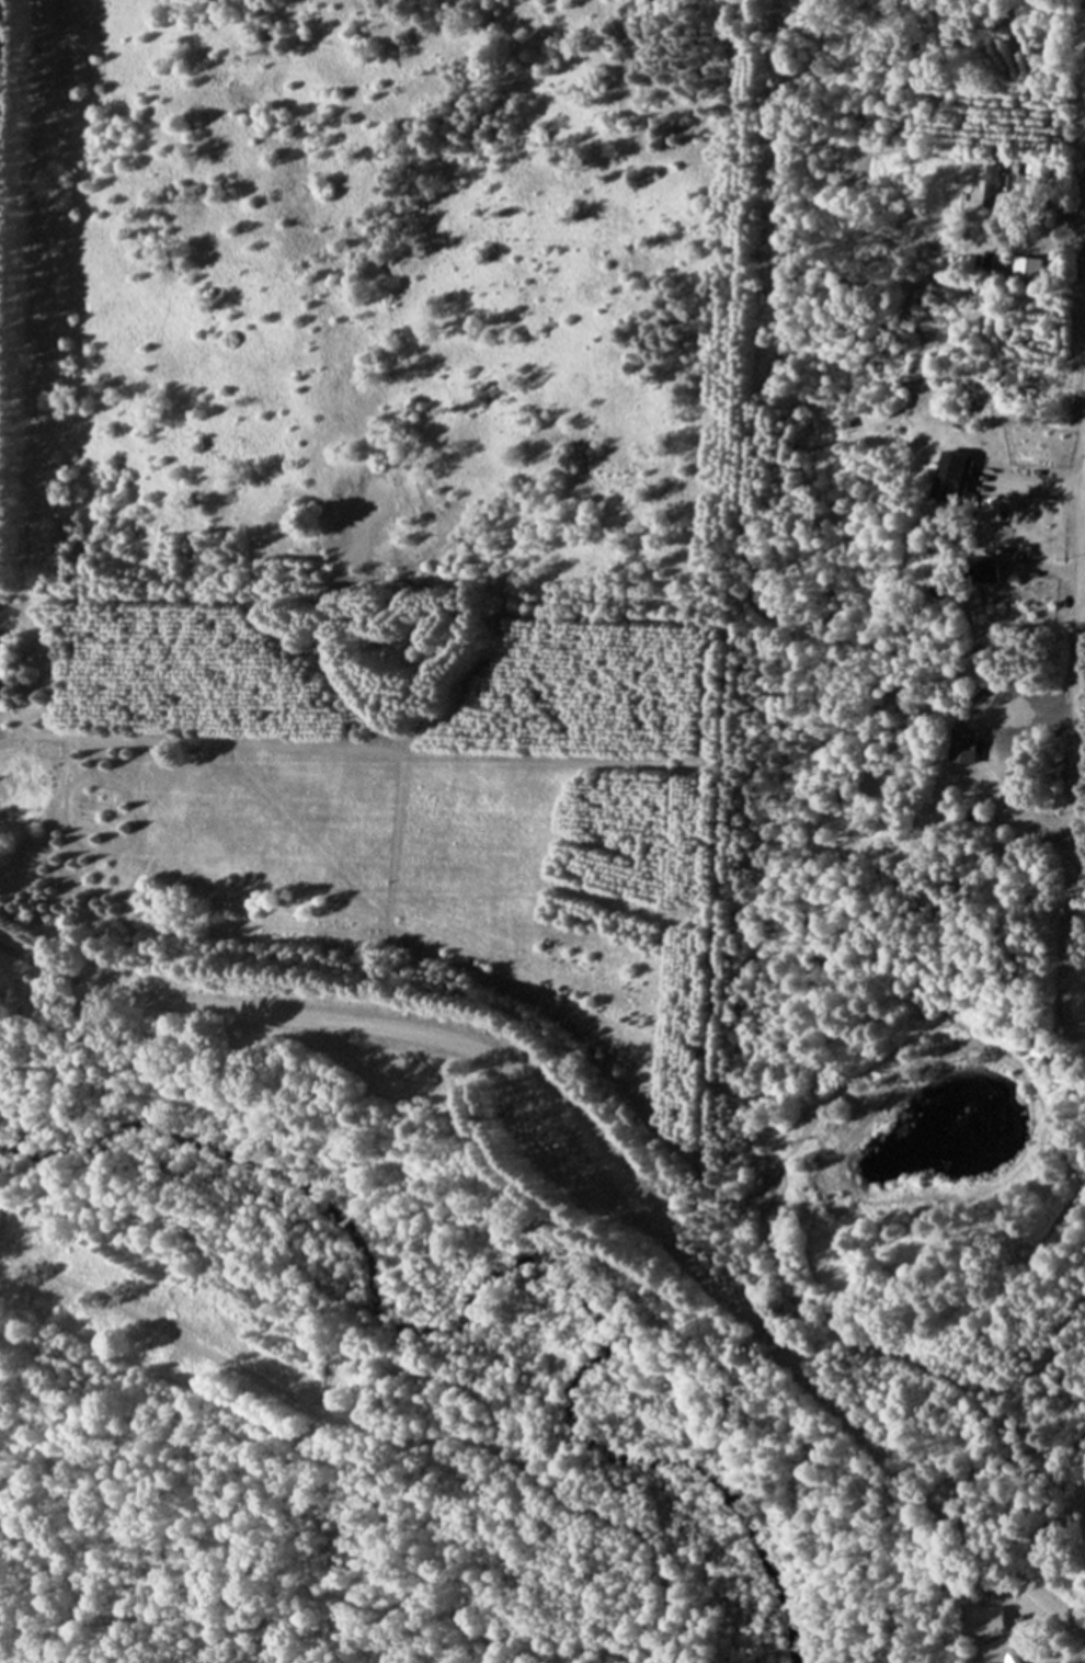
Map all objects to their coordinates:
building: (992, 186)
building: (956, 479)
road: (1041, 485)
building: (0, 657)
building: (967, 747)
road: (1074, 751)
road: (1039, 831)
road: (71, 977)
road: (660, 1231)
building: (1001, 1652)

